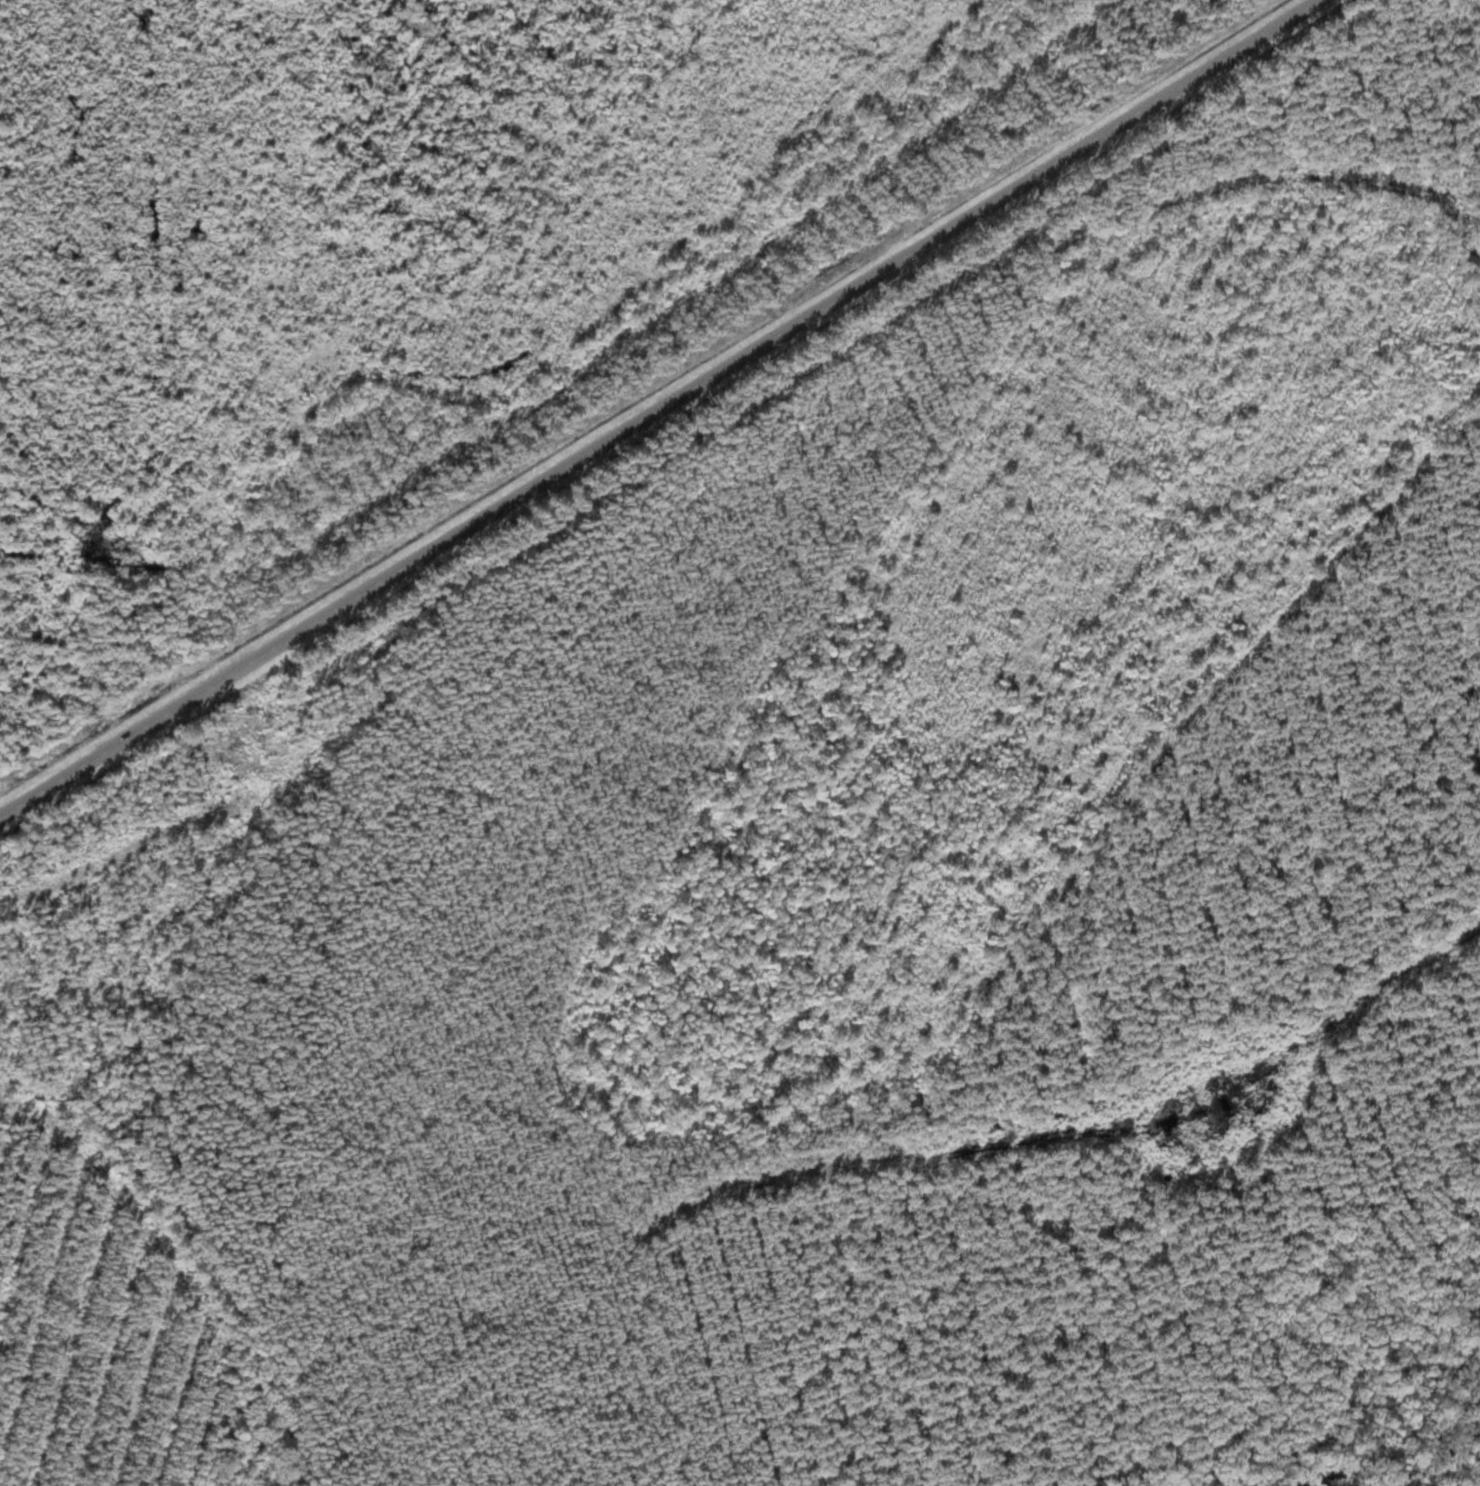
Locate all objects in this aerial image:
road: (646, 404)

